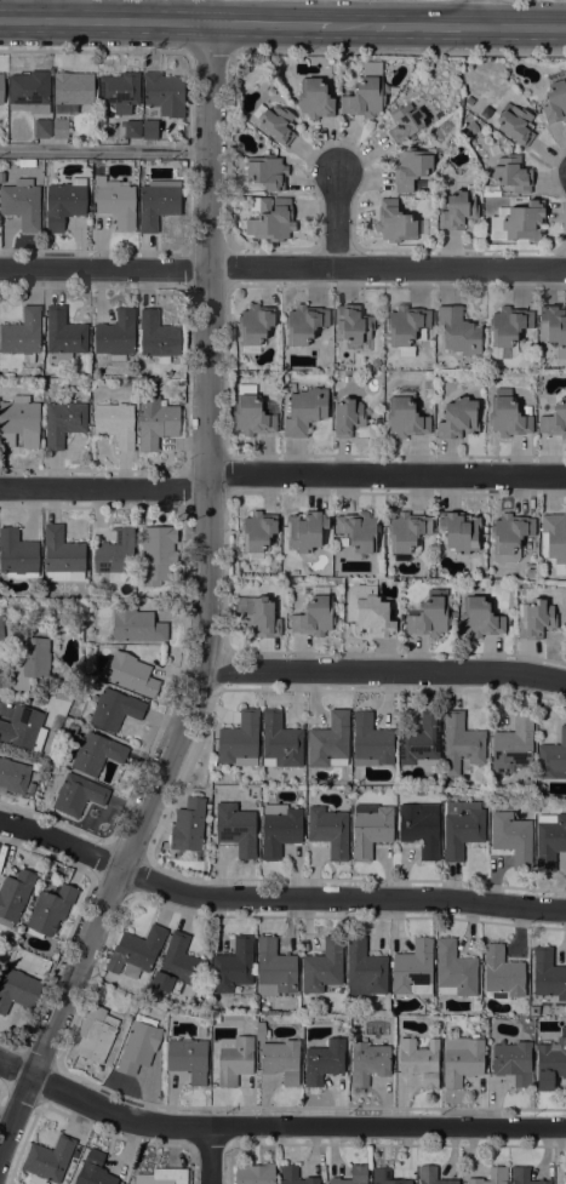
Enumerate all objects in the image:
road: (78, 10)
road: (478, 12)
road: (104, 21)
road: (271, 23)
road: (354, 23)
road: (427, 23)
road: (521, 24)
road: (93, 51)
road: (210, 52)
road: (399, 53)
building: (1, 88)
building: (29, 91)
building: (73, 91)
building: (119, 91)
building: (164, 93)
building: (366, 93)
building: (314, 98)
building: (555, 98)
building: (404, 121)
building: (275, 122)
building: (515, 124)
building: (41, 128)
building: (59, 128)
building: (132, 128)
building: (149, 130)
road: (104, 149)
building: (410, 167)
building: (267, 172)
building: (513, 173)
building: (64, 202)
building: (116, 202)
building: (22, 204)
building: (156, 204)
building: (458, 208)
building: (270, 218)
road: (335, 218)
building: (525, 221)
building: (398, 222)
road: (387, 267)
road: (103, 269)
building: (304, 322)
building: (351, 324)
building: (253, 326)
building: (407, 327)
building: (553, 327)
building: (508, 330)
building: (458, 331)
building: (63, 333)
building: (115, 333)
building: (22, 334)
building: (158, 337)
building: (2, 360)
building: (526, 410)
building: (304, 411)
building: (251, 412)
building: (405, 414)
building: (507, 416)
building: (348, 417)
building: (555, 417)
building: (458, 418)
building: (19, 422)
building: (62, 422)
building: (155, 422)
building: (115, 423)
road: (385, 473)
road: (103, 487)
building: (257, 530)
building: (359, 530)
building: (407, 531)
building: (459, 531)
building: (305, 532)
building: (509, 532)
building: (554, 537)
building: (17, 555)
building: (115, 555)
building: (62, 556)
building: (159, 556)
building: (531, 573)
road: (205, 604)
building: (368, 612)
building: (429, 614)
building: (314, 616)
building: (261, 617)
building: (480, 618)
building: (534, 618)
building: (137, 625)
building: (1, 633)
building: (29, 662)
road: (381, 670)
building: (131, 674)
building: (114, 709)
building: (23, 728)
building: (239, 740)
building: (280, 740)
building: (328, 740)
building: (370, 740)
building: (421, 740)
building: (461, 743)
building: (511, 745)
building: (87, 750)
building: (553, 757)
building: (13, 776)
building: (78, 795)
building: (188, 825)
building: (419, 828)
building: (462, 828)
building: (235, 829)
building: (279, 829)
building: (370, 829)
building: (328, 830)
building: (511, 837)
building: (549, 840)
road: (61, 841)
building: (15, 896)
road: (339, 897)
building: (50, 910)
building: (136, 951)
building: (176, 963)
building: (233, 966)
building: (322, 966)
building: (274, 968)
building: (364, 968)
building: (412, 968)
building: (454, 969)
building: (502, 972)
building: (548, 974)
building: (19, 990)
building: (533, 1011)
building: (261, 1030)
building: (96, 1034)
building: (138, 1045)
building: (188, 1058)
building: (461, 1059)
building: (234, 1060)
building: (281, 1060)
building: (419, 1060)
building: (324, 1062)
building: (513, 1062)
building: (550, 1062)
building: (367, 1063)
road: (276, 1125)
road: (207, 1154)
building: (47, 1160)
building: (93, 1168)
building: (255, 1174)
building: (293, 1176)
building: (351, 1176)
building: (431, 1176)
building: (565, 1176)
building: (164, 1177)
building: (385, 1177)
building: (491, 1177)
building: (524, 1177)

